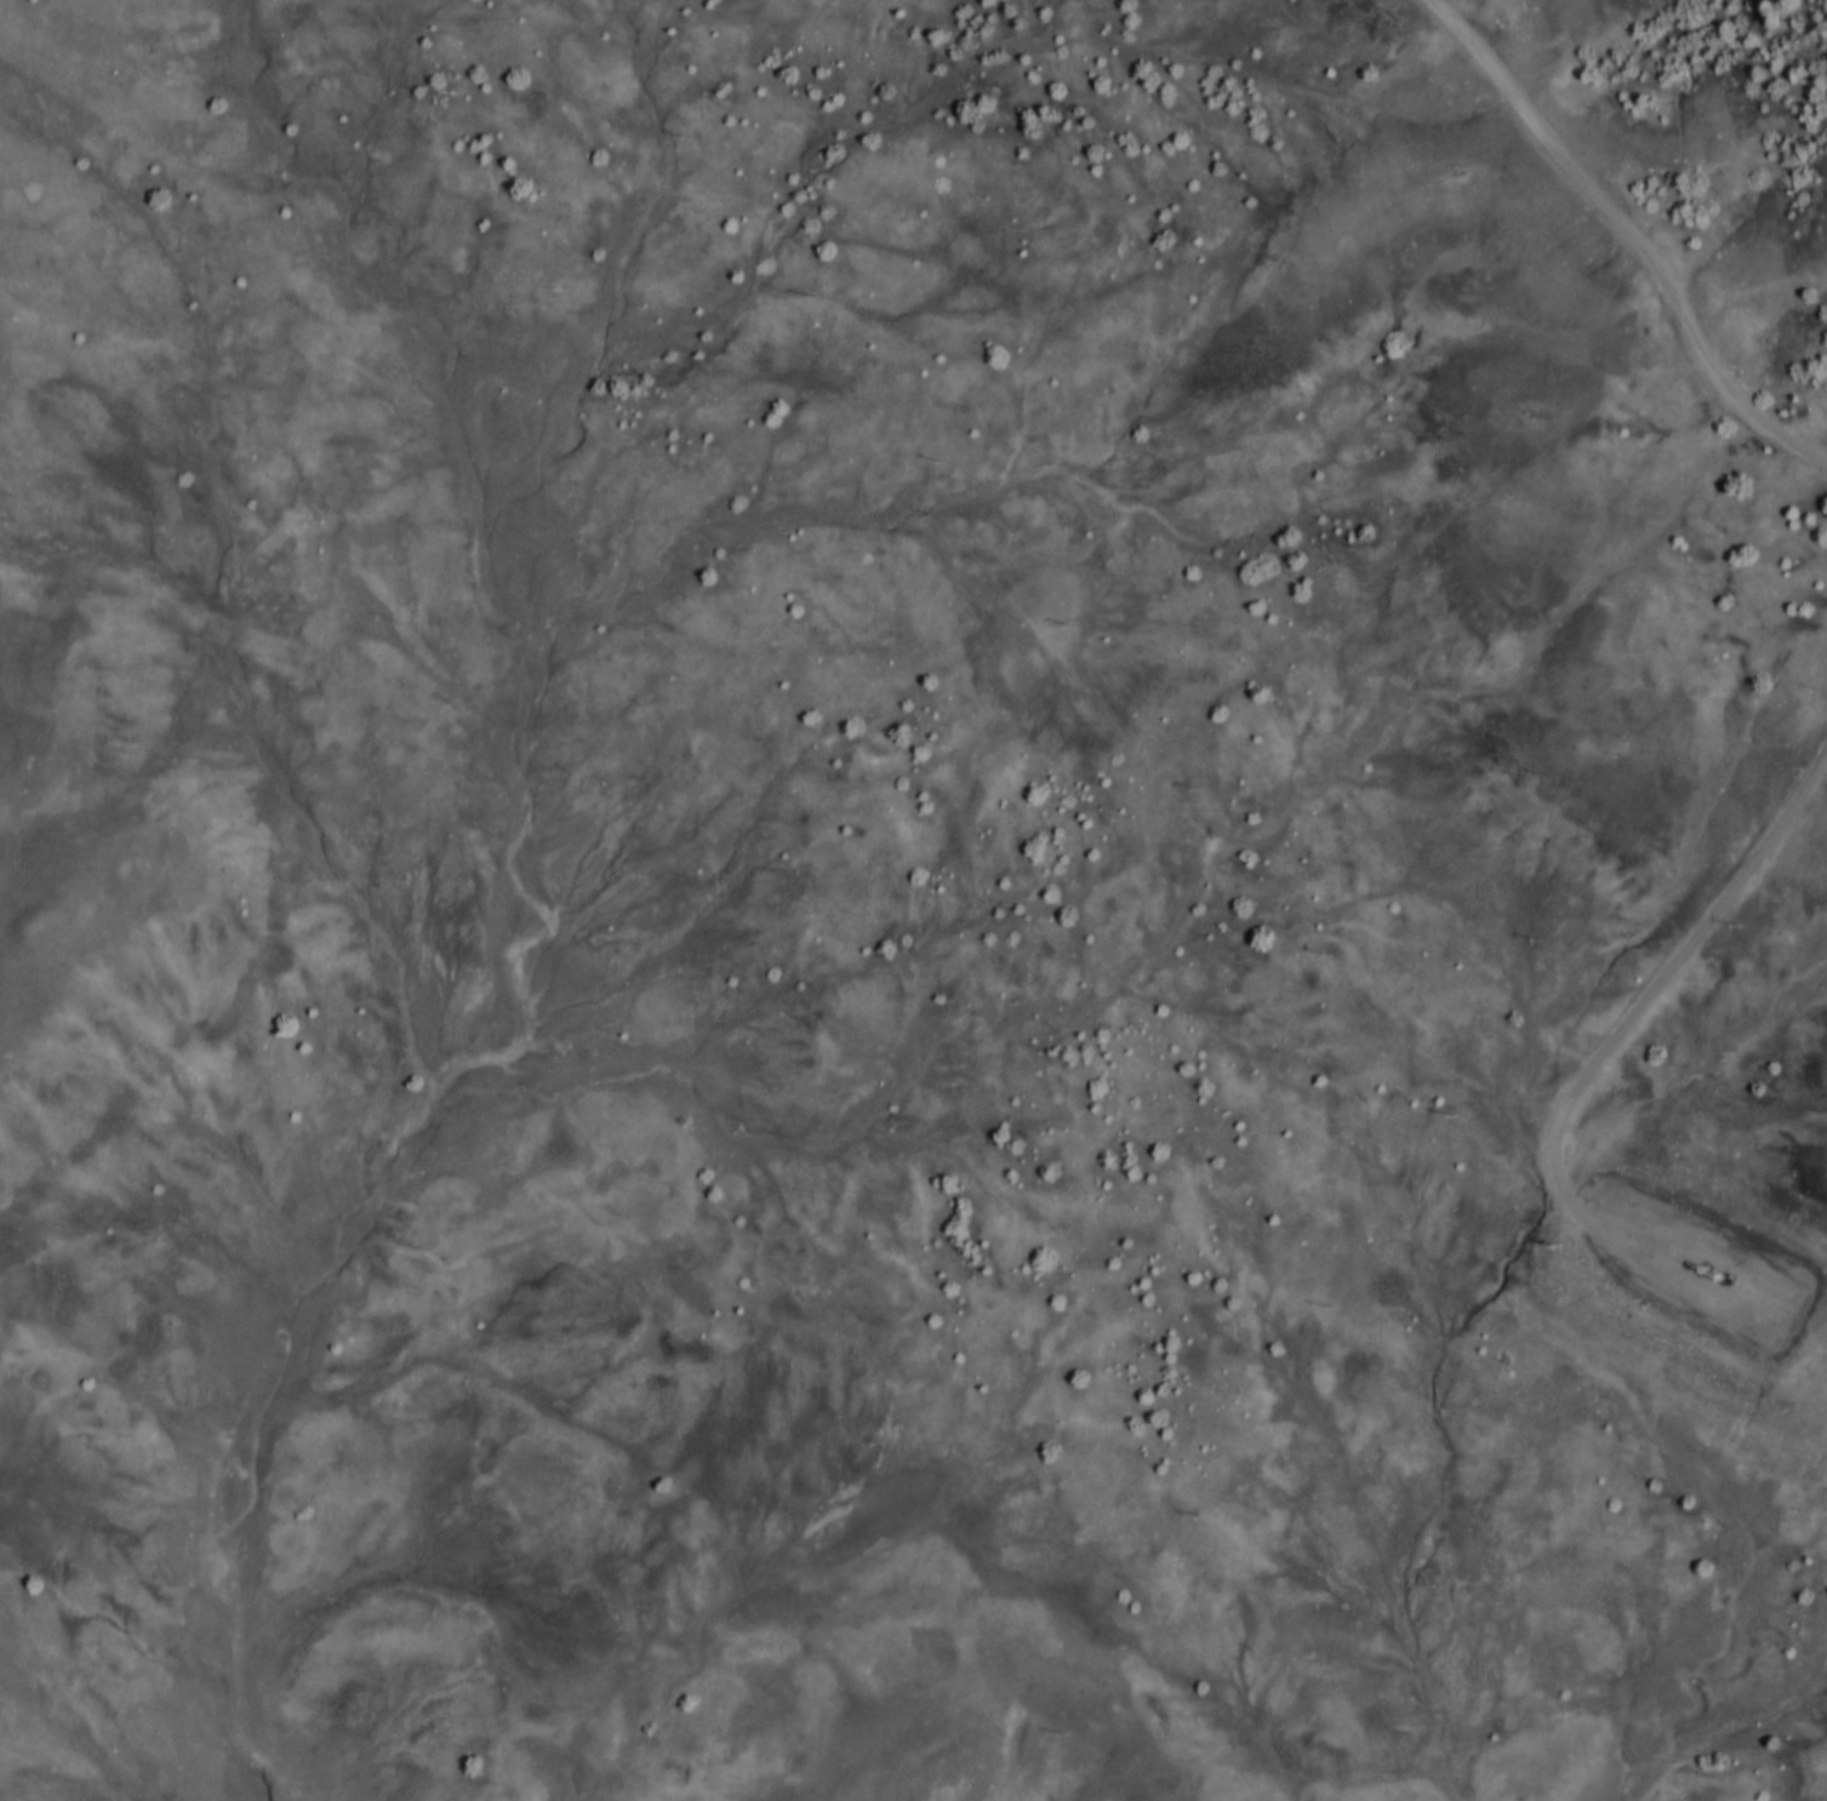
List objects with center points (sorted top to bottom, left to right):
road: (1632, 233)
road: (1652, 991)
petroleum well: (1712, 1268)
road: (1780, 1299)

